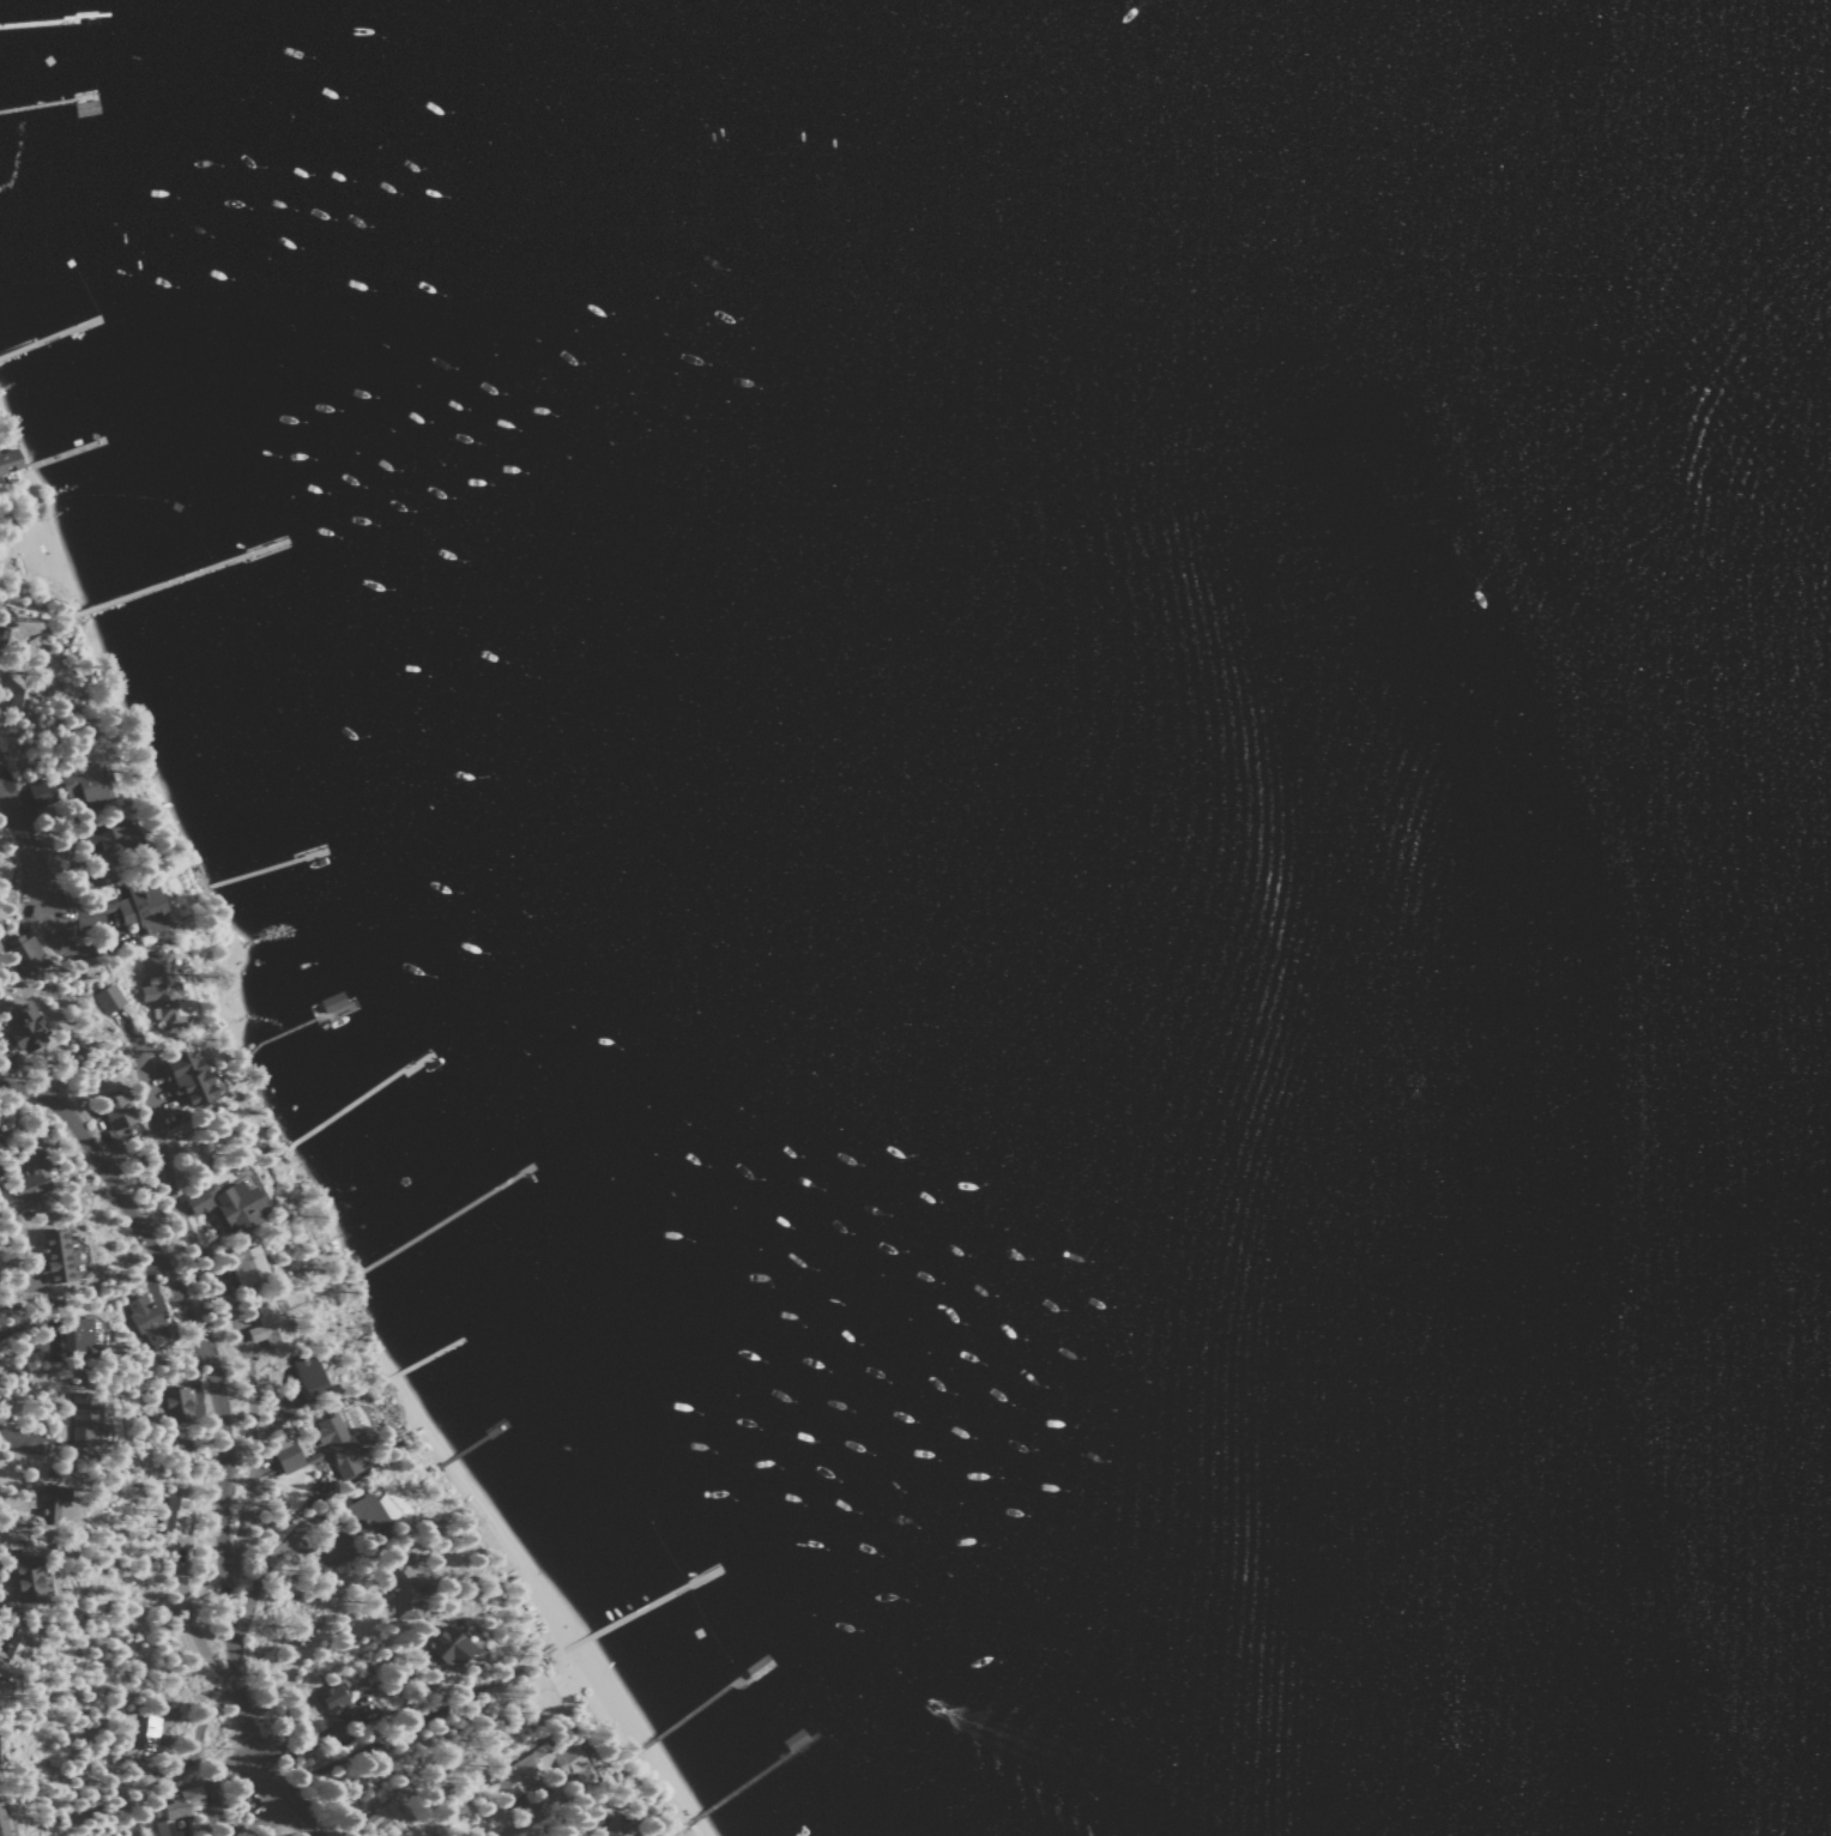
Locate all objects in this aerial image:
pier: (53, 18)
pier: (47, 101)
pier: (50, 337)
pier: (60, 455)
building: (7, 461)
road: (5, 560)
park: (34, 569)
pier: (177, 578)
road: (35, 610)
building: (0, 633)
building: (25, 688)
building: (85, 785)
building: (38, 793)
road: (22, 838)
building: (105, 841)
pier: (264, 868)
building: (125, 912)
building: (24, 958)
building: (159, 989)
building: (108, 998)
building: (19, 1026)
pier: (300, 1026)
building: (182, 1076)
pier: (353, 1099)
building: (113, 1110)
building: (29, 1176)
building: (224, 1204)
pier: (435, 1224)
building: (54, 1255)
building: (244, 1263)
building: (144, 1319)
road: (235, 1323)
building: (268, 1327)
building: (74, 1334)
pier: (421, 1359)
building: (306, 1375)
building: (175, 1403)
building: (81, 1418)
road: (220, 1431)
pier: (472, 1444)
building: (338, 1447)
building: (282, 1454)
building: (54, 1504)
building: (170, 1515)
building: (362, 1515)
road: (273, 1551)
building: (22, 1575)
building: (404, 1589)
pier: (641, 1606)
road: (306, 1647)
building: (446, 1647)
building: (11, 1650)
park: (502, 1680)
building: (330, 1703)
road: (411, 1703)
pier: (701, 1704)
road: (422, 1719)
building: (147, 1731)
road: (314, 1741)
building: (533, 1768)
road: (213, 1778)
pier: (743, 1783)
parking lot: (250, 1793)
building: (181, 1802)
building: (380, 1816)
road: (272, 1818)
road: (519, 1819)
building: (5, 1825)
building: (164, 1828)
building: (611, 1829)

